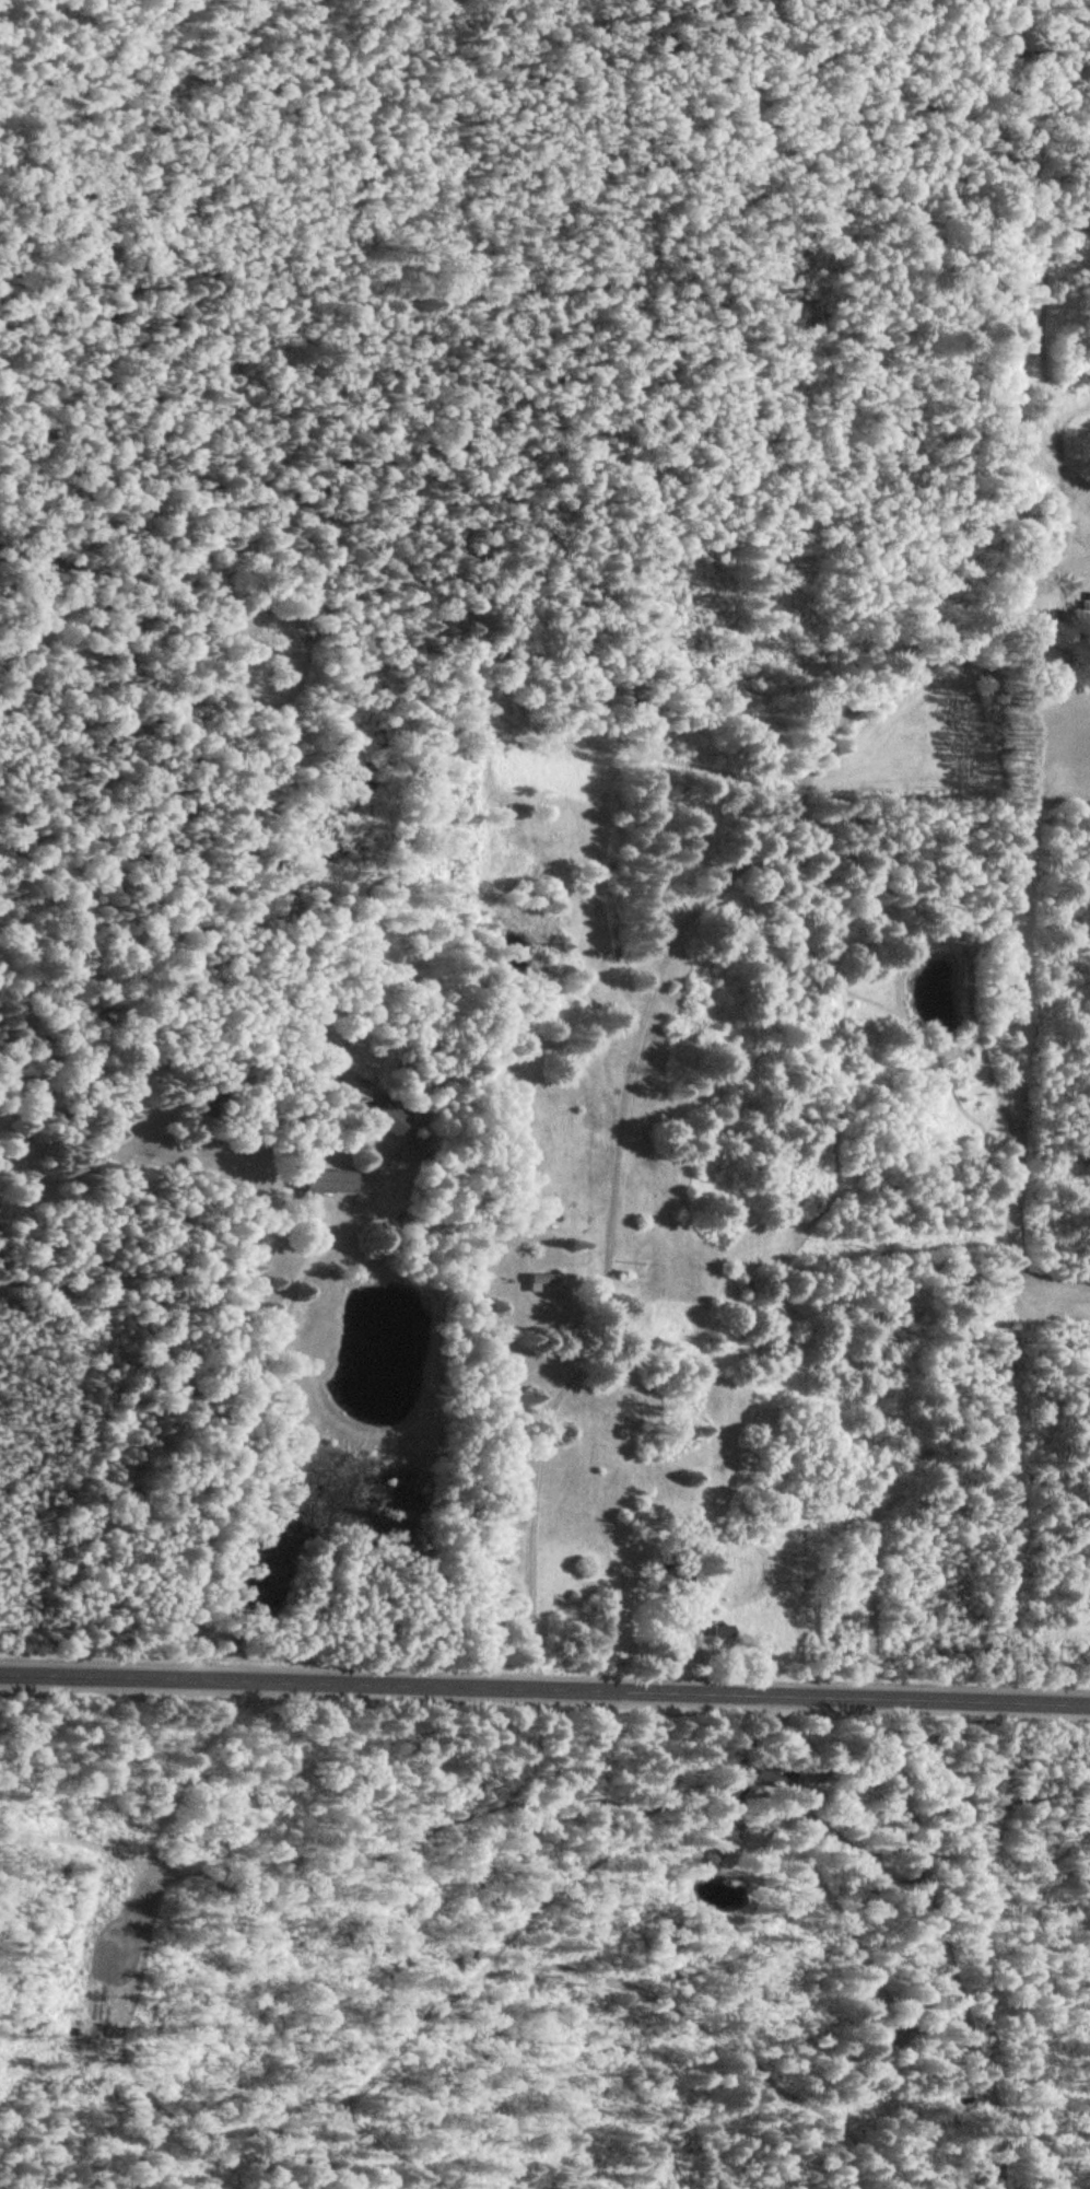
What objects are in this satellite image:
building: (1044, 652)
building: (389, 1116)
building: (330, 1181)
building: (546, 1279)
building: (681, 1579)
building: (727, 1631)
road: (544, 1686)

